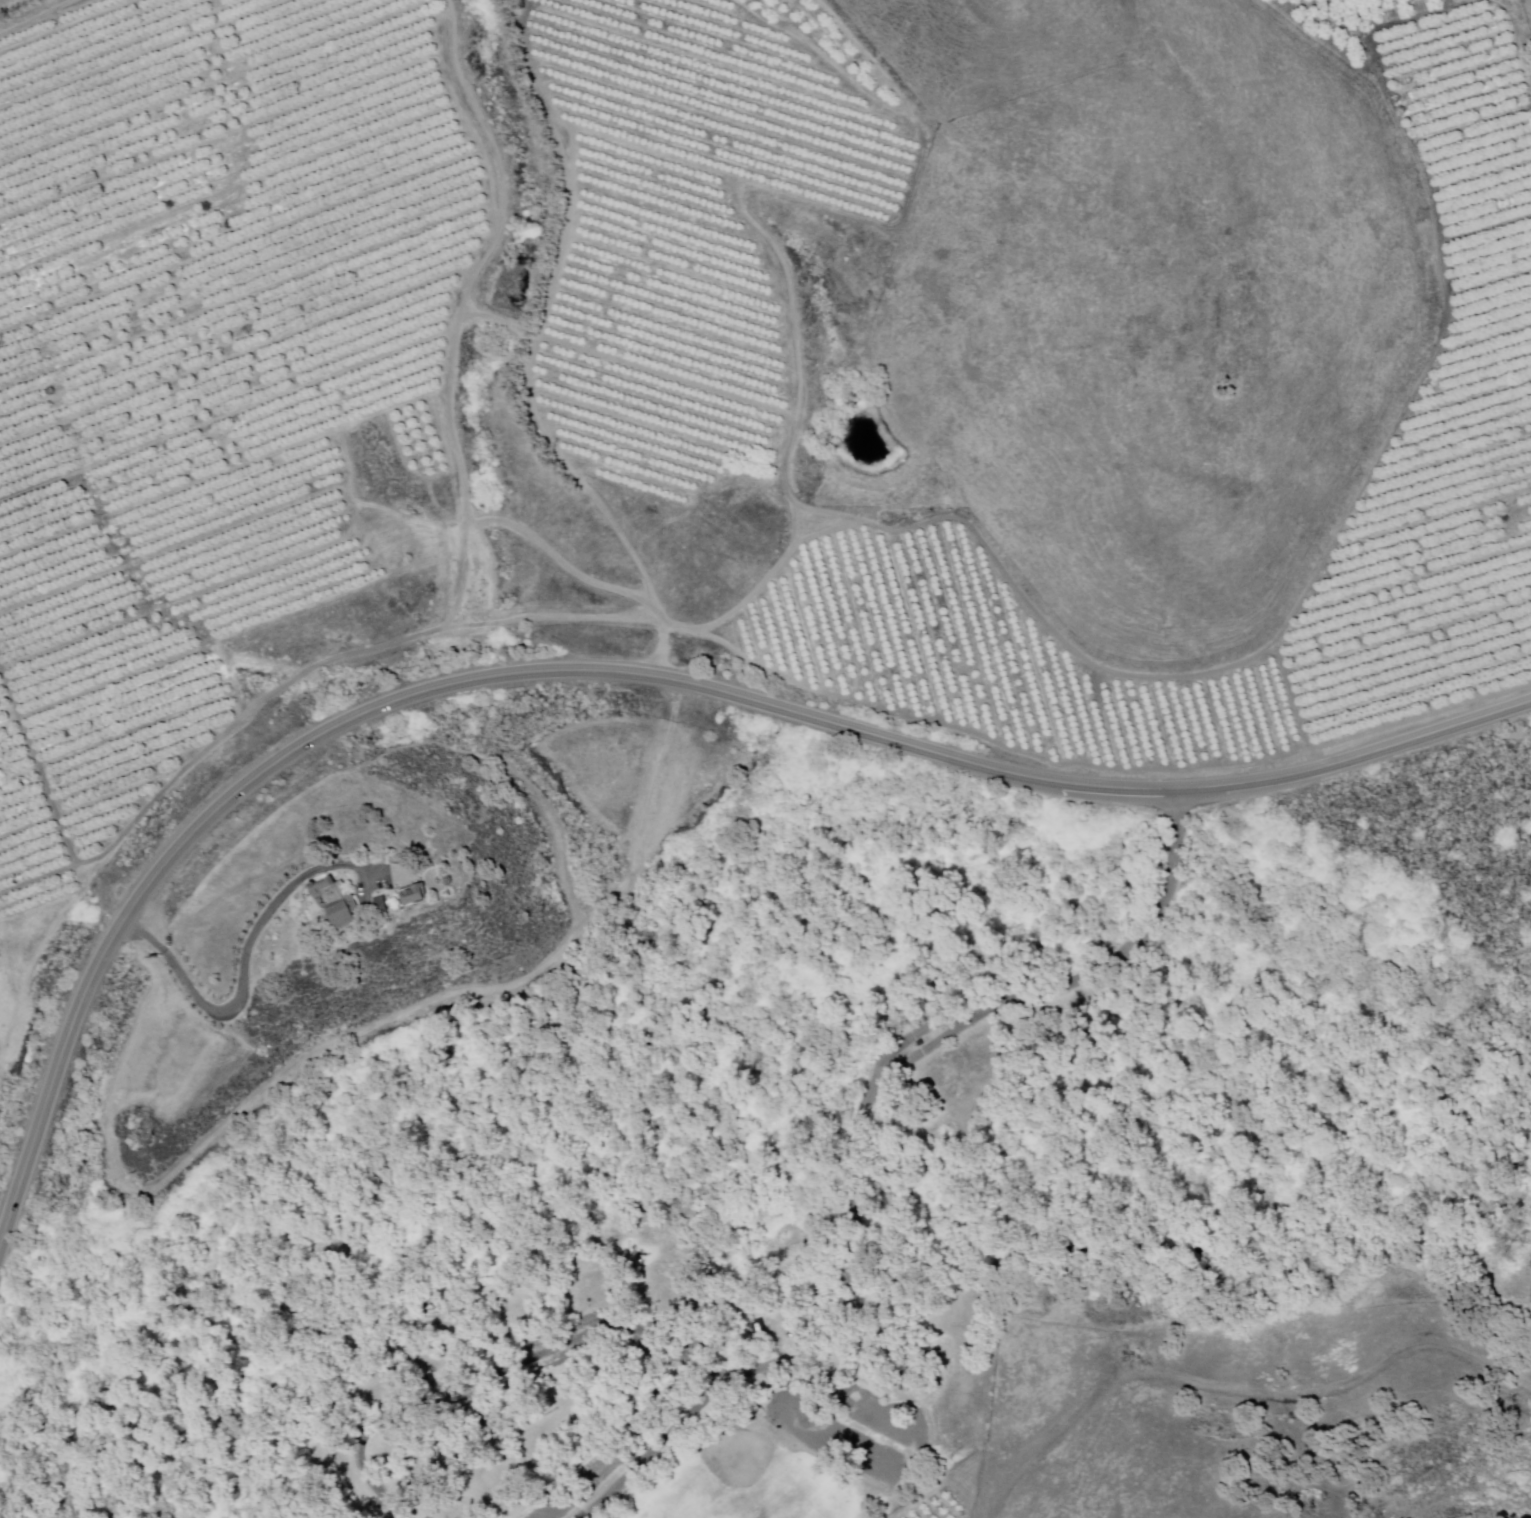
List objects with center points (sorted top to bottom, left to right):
crop: (394, 333)
road: (619, 671)
building: (325, 890)
building: (416, 896)
building: (383, 905)
building: (345, 913)
road: (1115, 955)
road: (246, 976)
road: (913, 1037)
building: (921, 1043)
road: (925, 1052)
park: (731, 1219)
building: (425, 1306)
park: (957, 1307)
building: (762, 1328)
road: (820, 1340)
road: (559, 1348)
road: (1239, 1389)
park: (961, 1395)
road: (905, 1466)
park: (753, 1479)
building: (368, 1513)
park: (478, 1516)

